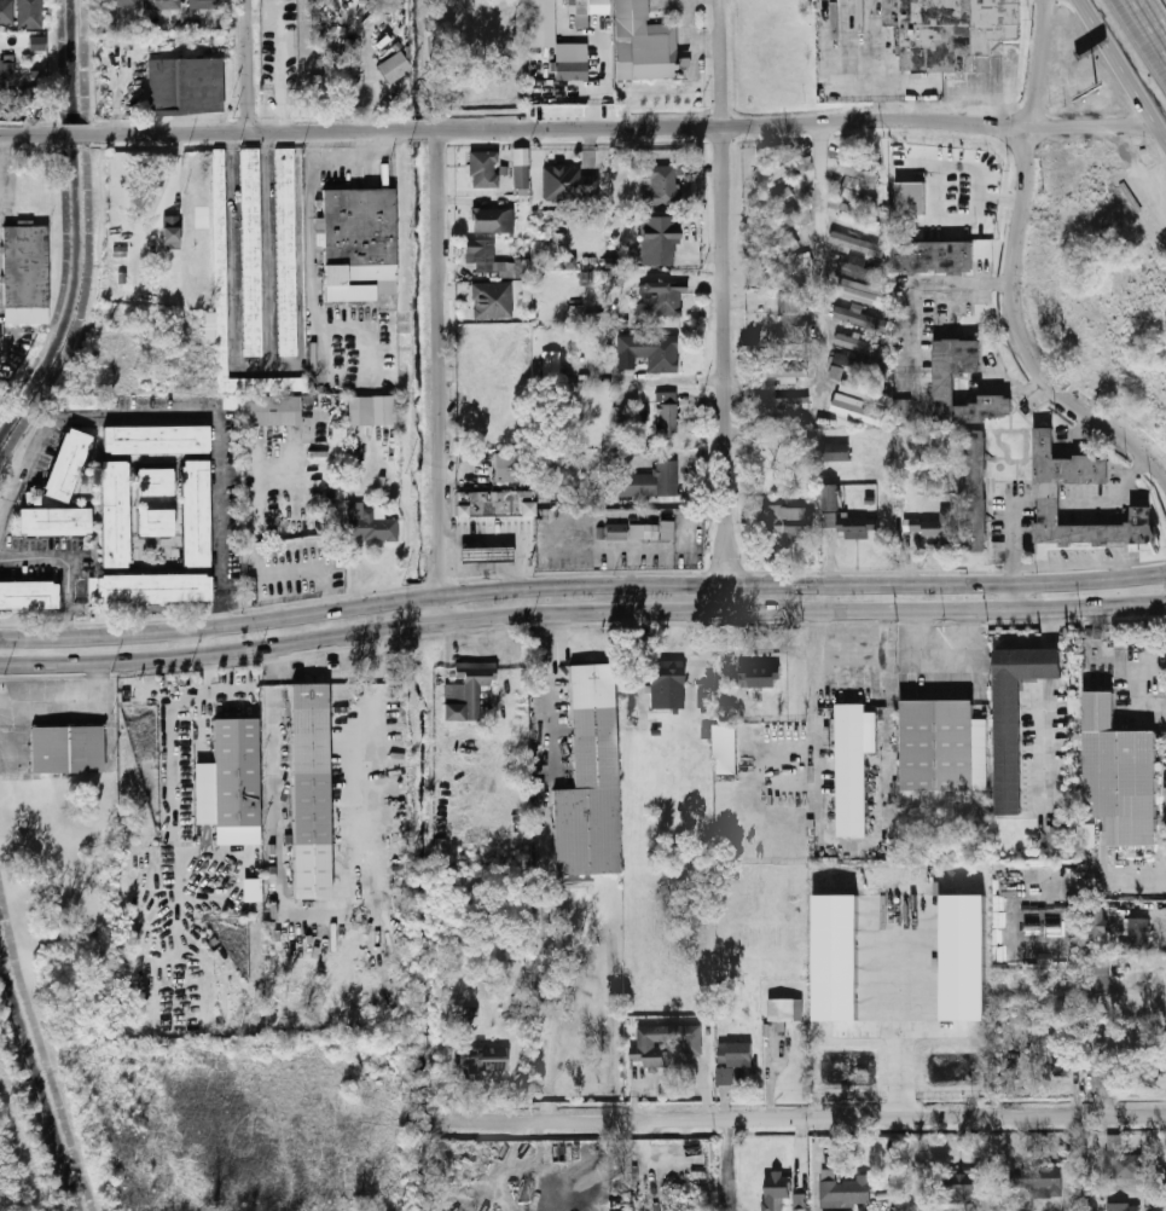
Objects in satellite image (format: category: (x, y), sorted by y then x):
building: (116, 4)
building: (161, 5)
building: (208, 5)
building: (591, 10)
road: (720, 11)
building: (6, 12)
building: (29, 15)
road: (187, 19)
road: (1153, 21)
building: (541, 22)
road: (1144, 28)
building: (950, 30)
building: (644, 42)
building: (36, 44)
road: (1038, 64)
road: (249, 66)
building: (394, 68)
road: (1121, 70)
building: (7, 71)
building: (185, 86)
building: (318, 87)
building: (30, 95)
road: (1092, 126)
road: (736, 127)
road: (346, 131)
road: (174, 133)
road: (80, 134)
road: (30, 135)
road: (6, 155)
building: (521, 169)
building: (849, 169)
building: (483, 170)
building: (777, 173)
road: (1148, 182)
building: (569, 185)
building: (661, 186)
building: (849, 187)
building: (782, 195)
building: (909, 197)
building: (857, 216)
building: (782, 218)
building: (493, 220)
river: (79, 232)
building: (172, 233)
building: (659, 241)
building: (356, 242)
building: (855, 243)
building: (781, 244)
building: (284, 250)
building: (250, 251)
building: (929, 254)
building: (485, 256)
road: (818, 259)
road: (300, 261)
building: (570, 262)
building: (221, 265)
building: (785, 267)
building: (860, 270)
building: (25, 274)
road: (922, 283)
building: (863, 292)
building: (660, 300)
building: (492, 301)
road: (726, 315)
building: (860, 317)
building: (794, 319)
road: (1017, 336)
building: (863, 344)
building: (648, 353)
building: (551, 365)
building: (860, 365)
road: (254, 367)
building: (784, 371)
building: (835, 372)
road: (439, 376)
road: (665, 379)
building: (941, 382)
building: (864, 392)
building: (782, 402)
building: (370, 409)
building: (268, 410)
building: (903, 410)
building: (666, 413)
building: (857, 413)
road: (181, 416)
building: (156, 439)
building: (836, 452)
building: (65, 464)
building: (509, 469)
building: (354, 477)
building: (152, 481)
building: (651, 481)
building: (974, 489)
building: (1048, 493)
building: (33, 497)
building: (831, 497)
building: (493, 502)
building: (112, 512)
building: (193, 512)
building: (52, 520)
building: (829, 520)
building: (790, 521)
building: (153, 522)
building: (370, 525)
building: (857, 526)
building: (932, 526)
building: (666, 531)
building: (615, 532)
building: (643, 532)
building: (483, 554)
road: (66, 563)
road: (302, 569)
road: (581, 586)
building: (146, 587)
building: (27, 593)
road: (1014, 593)
road: (581, 610)
road: (860, 622)
road: (197, 641)
road: (816, 650)
road: (940, 659)
building: (1048, 664)
building: (759, 676)
building: (667, 684)
road: (883, 684)
building: (466, 691)
building: (704, 697)
road: (1051, 703)
building: (1010, 724)
road: (814, 742)
building: (944, 746)
building: (68, 749)
building: (725, 749)
building: (852, 769)
building: (233, 771)
building: (1120, 773)
building: (590, 783)
building: (312, 792)
building: (1089, 834)
building: (1058, 836)
road: (549, 868)
building: (251, 891)
building: (1100, 921)
building: (1137, 933)
building: (963, 956)
building: (836, 958)
building: (1097, 973)
building: (787, 1009)
road: (901, 1014)
building: (1129, 1042)
building: (651, 1053)
building: (1062, 1058)
building: (733, 1059)
building: (485, 1060)
river: (39, 1074)
road: (808, 1119)
road: (804, 1151)
road: (28, 1159)
building: (1125, 1163)
road: (651, 1165)
road: (731, 1165)
road: (820, 1165)
building: (1037, 1180)
building: (778, 1186)
building: (957, 1186)
building: (579, 1189)
building: (845, 1189)
building: (994, 1196)
building: (800, 1201)
building: (1124, 1206)
building: (848, 1210)

